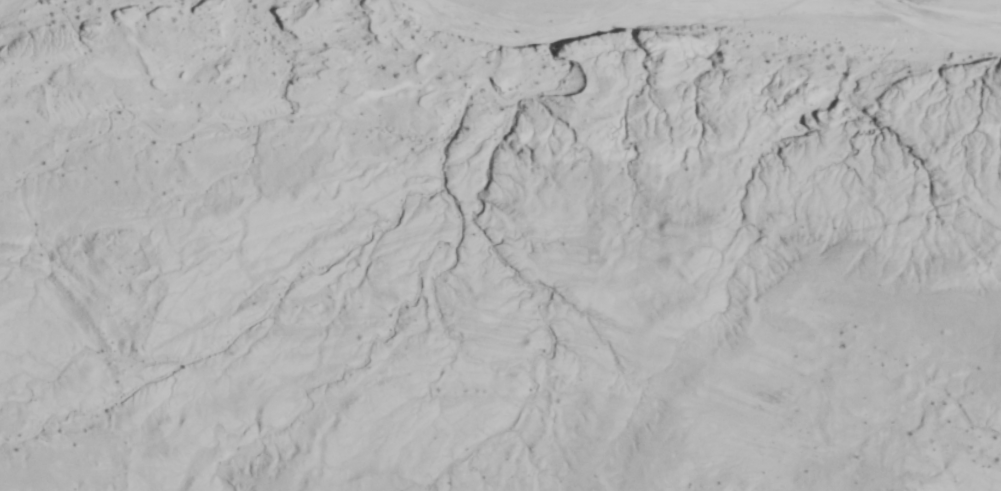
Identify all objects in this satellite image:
road: (1, 1)
road: (717, 8)

